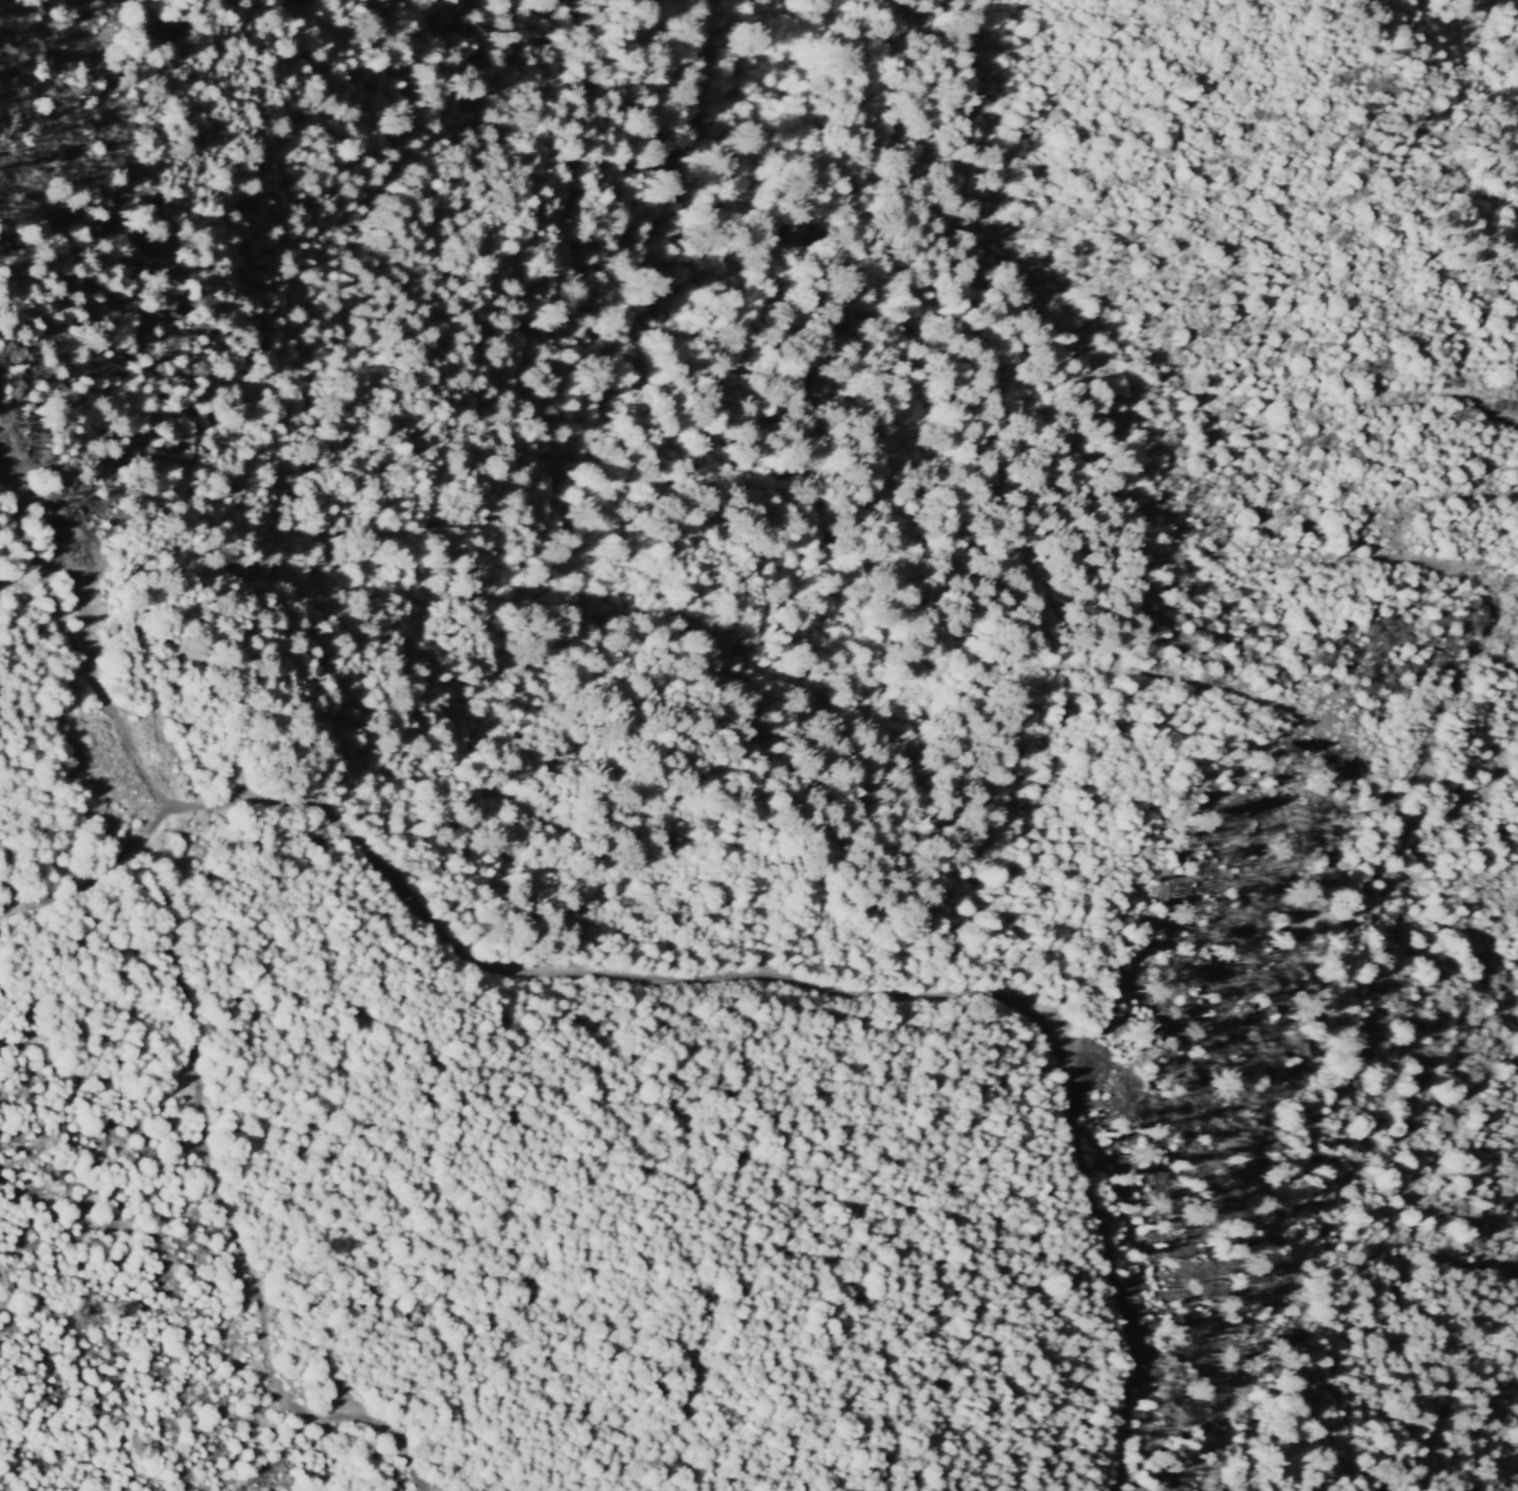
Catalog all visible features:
road: (1137, 1345)

